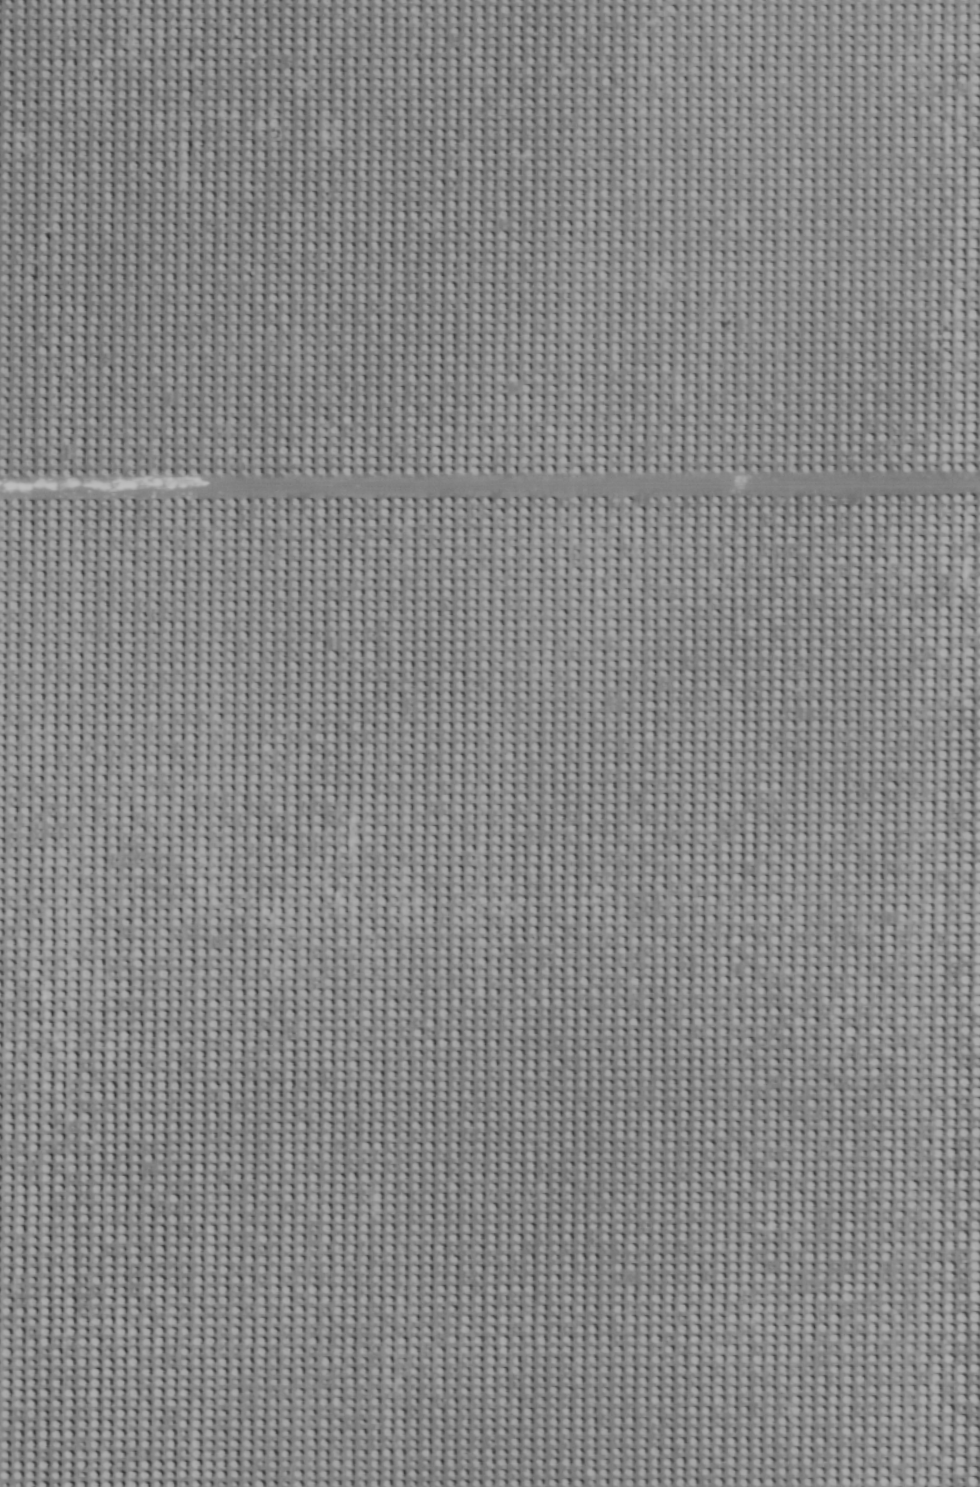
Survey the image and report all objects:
crop: (490, 743)
road: (975, 1164)

